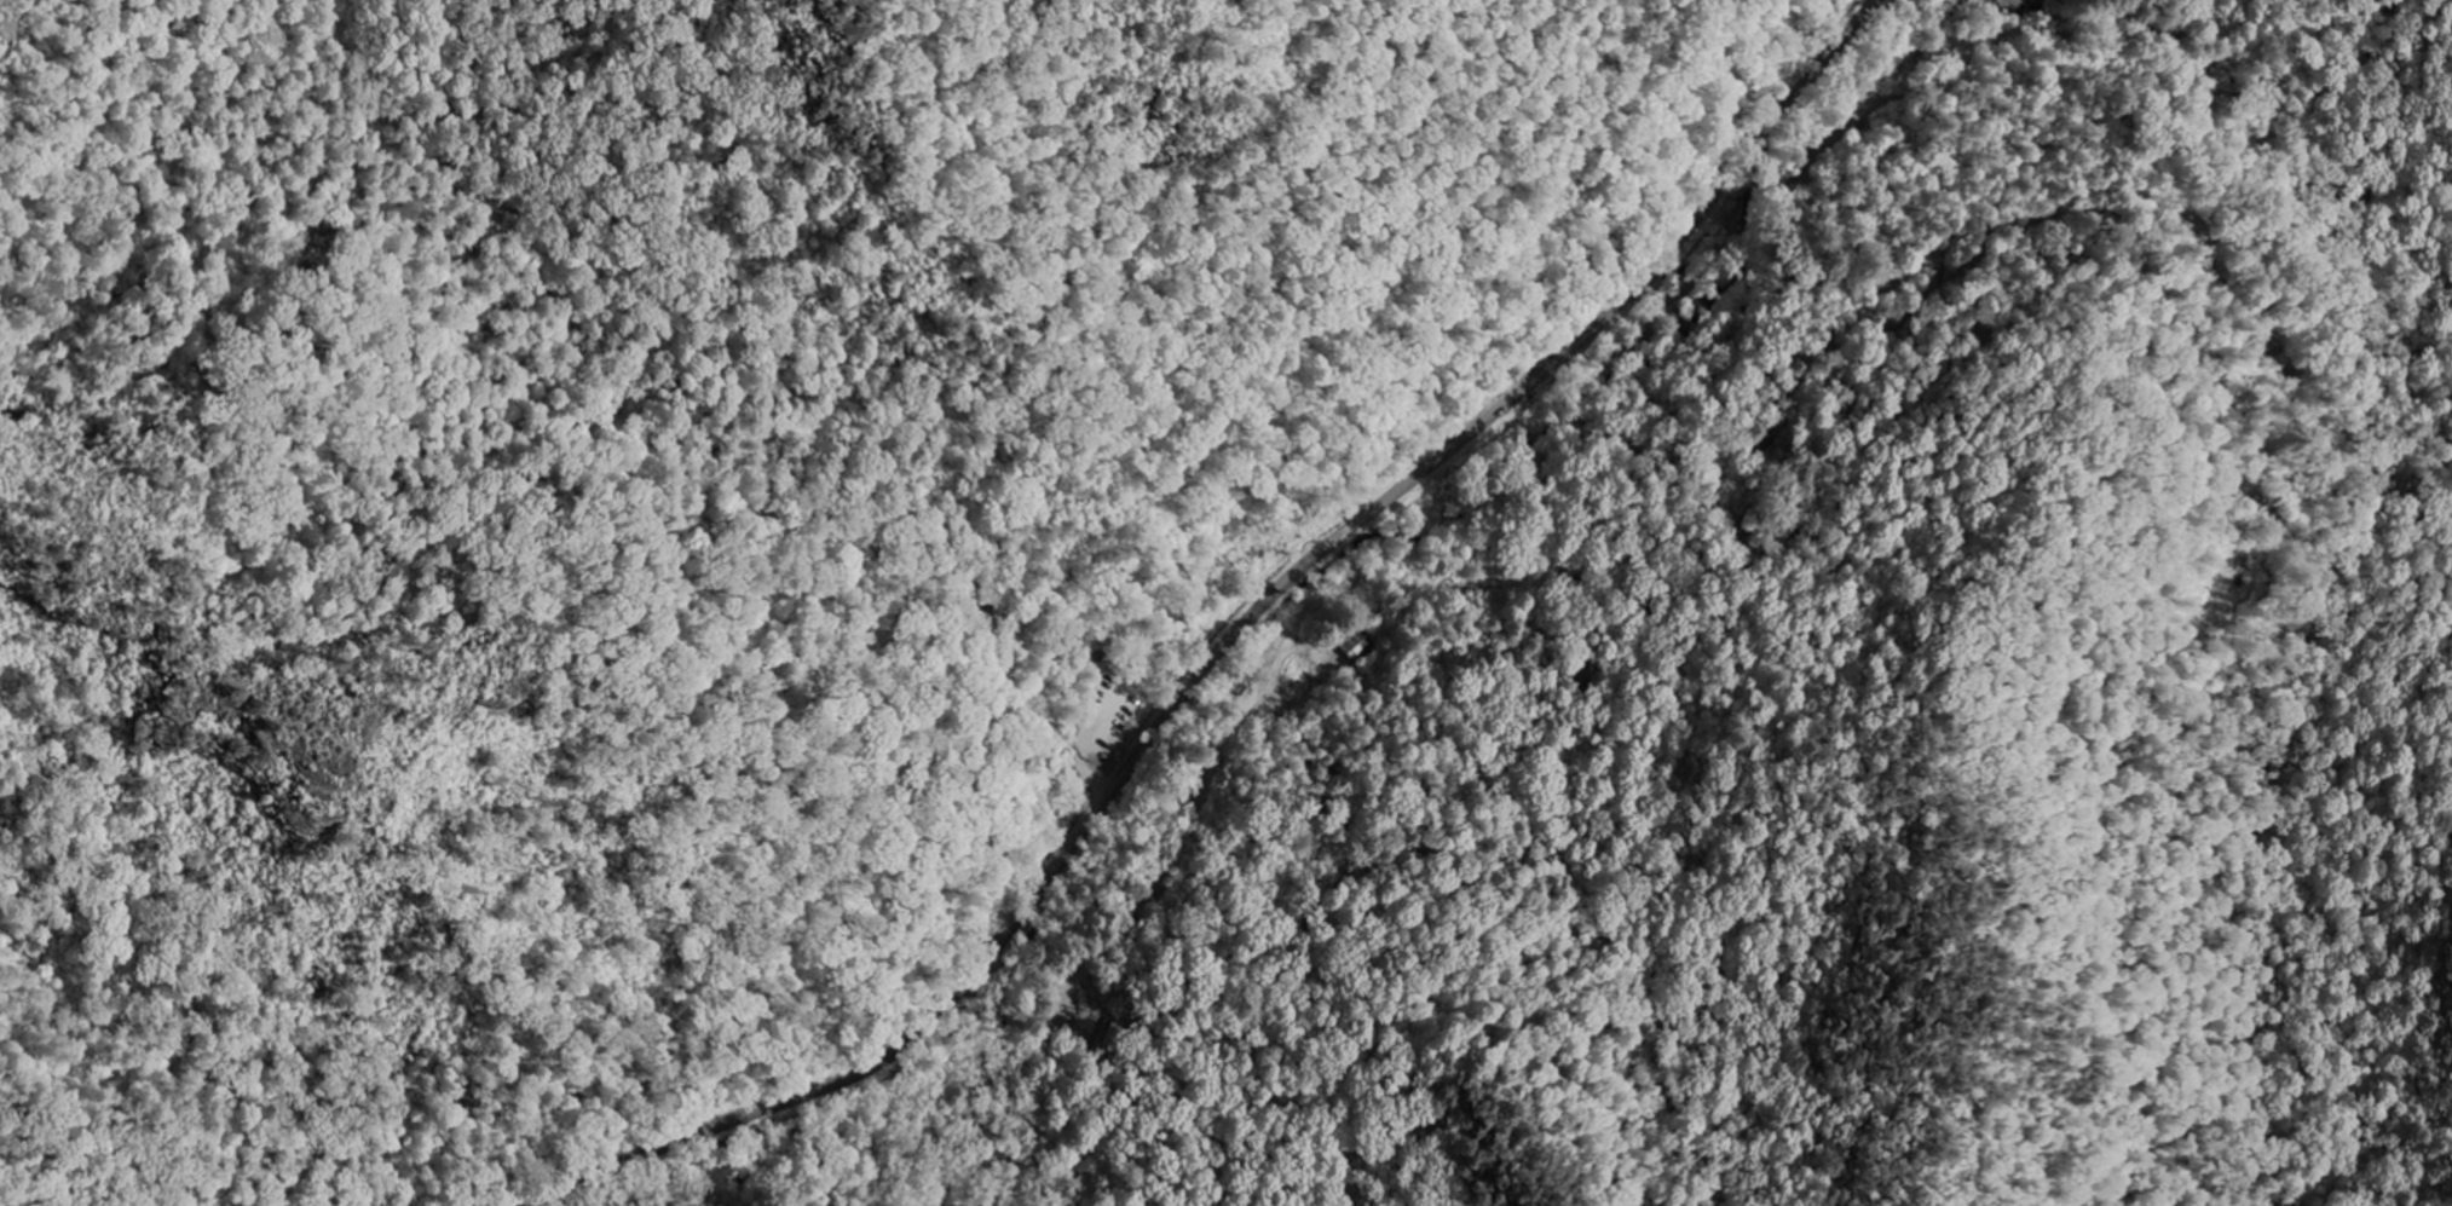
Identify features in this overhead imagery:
road: (1223, 645)
parking lot: (1098, 688)
parking lot: (1112, 716)
road: (1110, 717)
road: (1179, 850)
road: (979, 985)
road: (1246, 1023)
road: (953, 1039)
road: (1005, 1124)
road: (1006, 1164)

